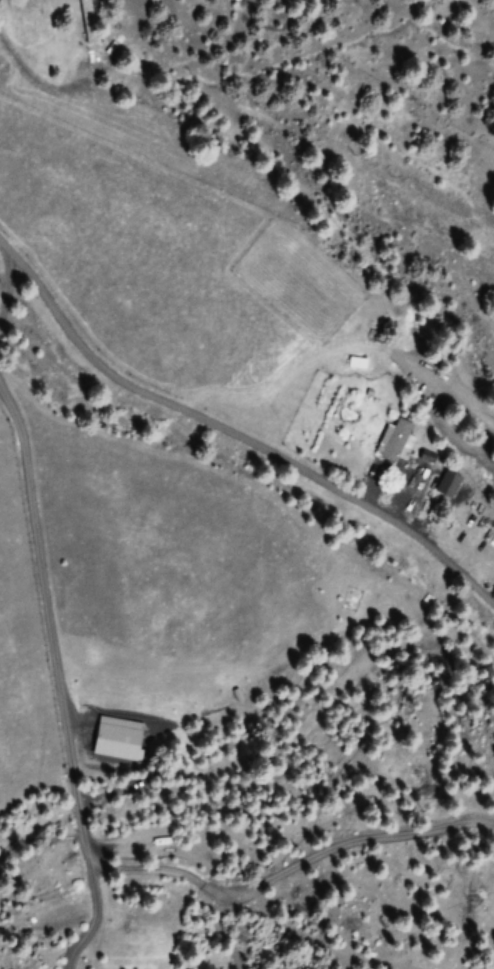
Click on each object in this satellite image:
building: (88, 21)
road: (20, 261)
road: (21, 330)
building: (397, 441)
road: (256, 445)
building: (448, 484)
building: (116, 739)

